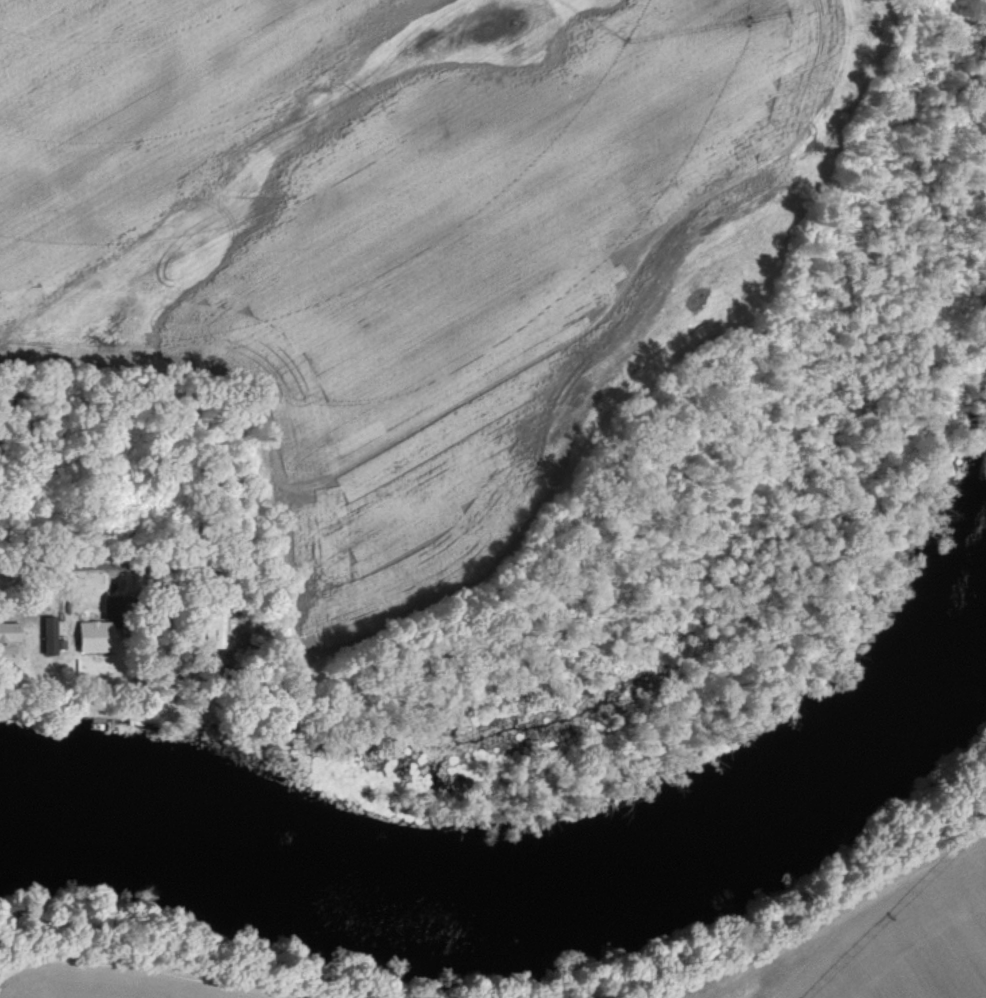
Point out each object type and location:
road: (59, 561)
building: (5, 589)
building: (104, 625)
building: (216, 630)
building: (9, 633)
river: (535, 895)

